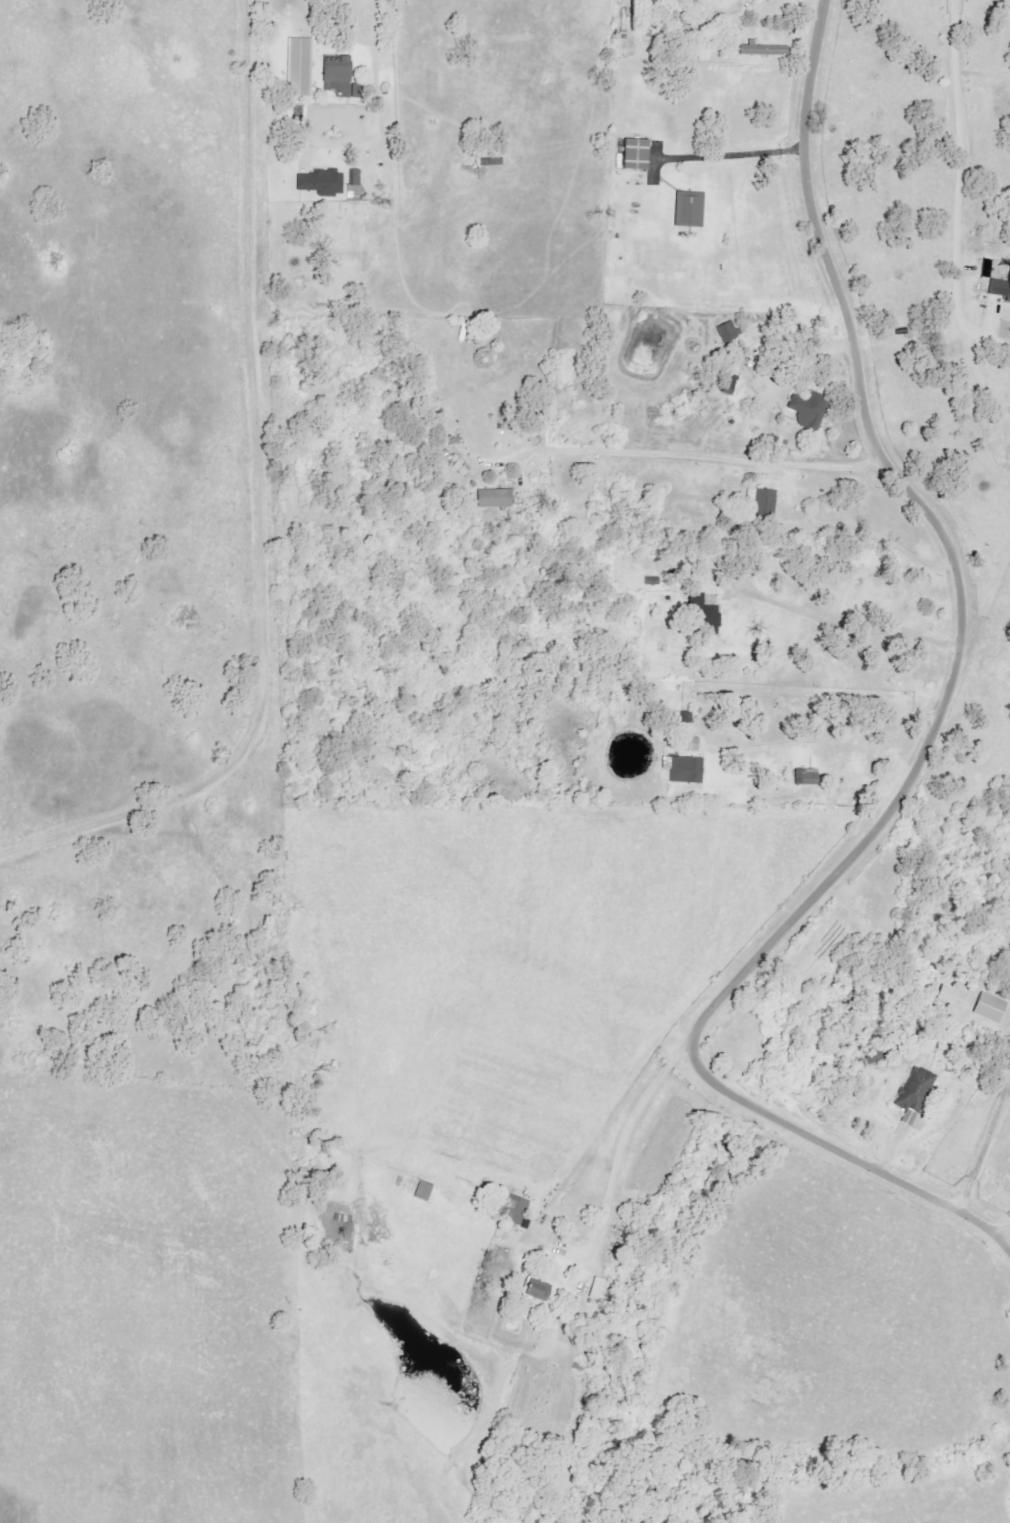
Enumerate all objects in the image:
road: (726, 6)
building: (762, 50)
road: (374, 59)
building: (297, 66)
building: (331, 70)
road: (732, 141)
building: (631, 153)
building: (353, 179)
building: (318, 182)
road: (955, 190)
building: (686, 208)
building: (998, 289)
building: (725, 331)
road: (998, 345)
road: (800, 350)
road: (978, 373)
building: (720, 380)
building: (804, 408)
road: (697, 455)
building: (457, 465)
building: (492, 498)
building: (762, 503)
building: (702, 614)
road: (844, 614)
road: (821, 739)
road: (920, 740)
building: (681, 769)
building: (803, 777)
building: (944, 995)
building: (986, 1008)
building: (917, 1090)
road: (617, 1137)
road: (980, 1138)
building: (426, 1190)
building: (513, 1207)
road: (999, 1221)
building: (599, 1287)
building: (539, 1291)

